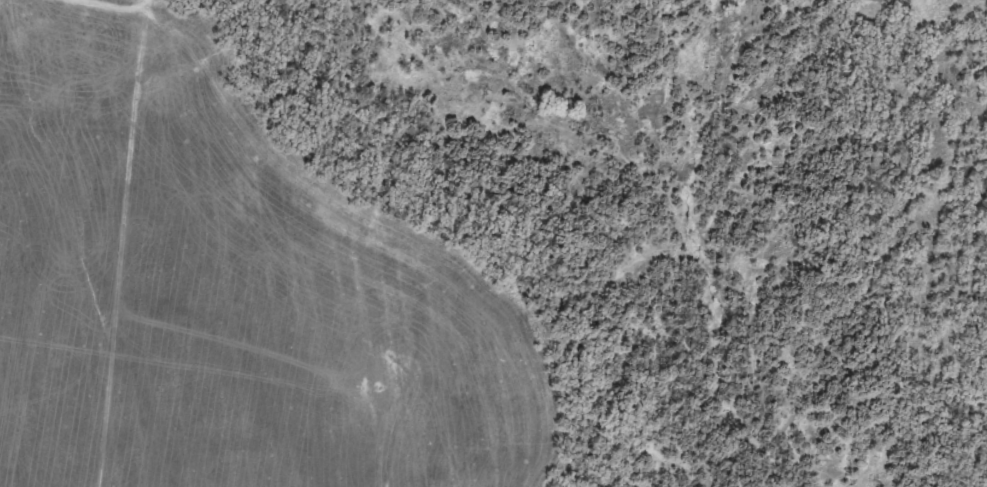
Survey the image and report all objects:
building: (877, 0)
road: (361, 203)

